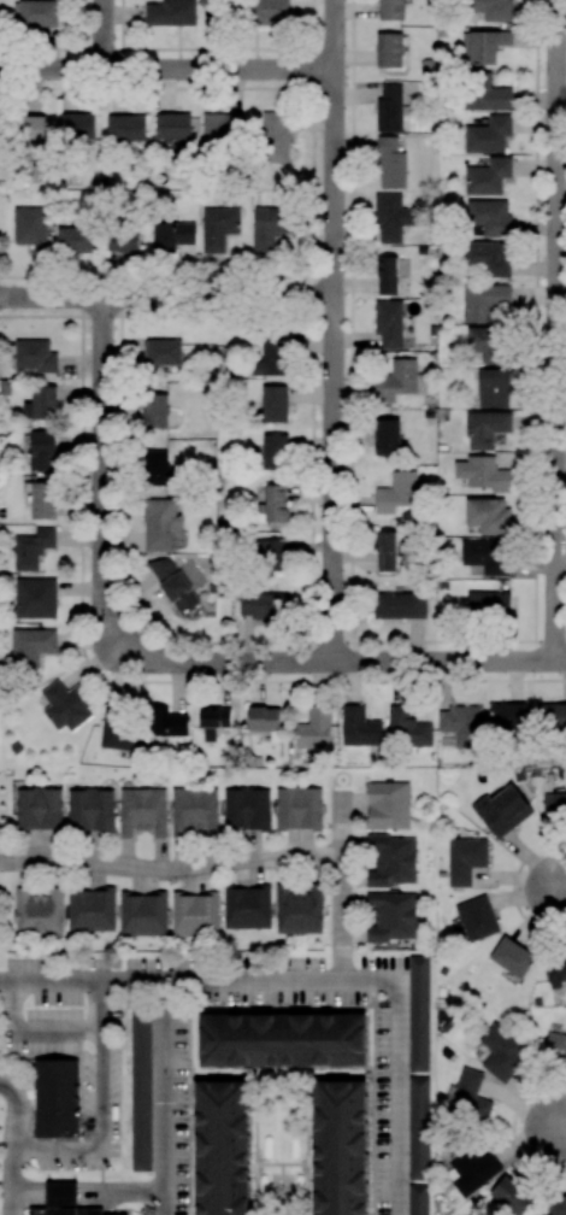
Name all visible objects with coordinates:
building: (491, 8)
building: (391, 10)
building: (264, 11)
building: (39, 13)
building: (170, 13)
road: (104, 34)
building: (487, 46)
building: (389, 49)
road: (167, 69)
building: (485, 93)
building: (389, 107)
building: (77, 125)
building: (172, 125)
building: (220, 127)
building: (125, 128)
building: (489, 135)
building: (31, 136)
building: (275, 137)
building: (390, 164)
building: (488, 176)
building: (490, 216)
building: (391, 218)
building: (31, 227)
building: (267, 227)
building: (218, 228)
building: (172, 236)
building: (75, 240)
building: (123, 240)
building: (487, 258)
building: (387, 276)
road: (166, 297)
building: (485, 301)
building: (388, 324)
road: (332, 330)
road: (556, 330)
building: (485, 344)
building: (164, 352)
building: (34, 356)
building: (270, 359)
building: (397, 381)
building: (494, 388)
building: (41, 404)
building: (275, 404)
building: (155, 411)
building: (485, 428)
building: (387, 436)
building: (43, 450)
building: (275, 451)
building: (157, 468)
road: (101, 469)
building: (483, 474)
building: (397, 493)
building: (42, 500)
building: (275, 504)
building: (489, 515)
building: (163, 526)
building: (33, 548)
building: (385, 551)
building: (271, 556)
building: (487, 556)
building: (173, 585)
building: (36, 598)
building: (488, 604)
building: (263, 605)
building: (400, 605)
building: (31, 647)
road: (346, 662)
building: (65, 706)
building: (507, 717)
building: (552, 717)
building: (264, 718)
building: (213, 721)
building: (165, 722)
building: (461, 724)
building: (359, 727)
building: (118, 728)
building: (409, 728)
building: (314, 729)
building: (388, 805)
building: (558, 805)
building: (297, 808)
building: (39, 809)
building: (90, 809)
building: (246, 809)
building: (502, 810)
building: (142, 811)
building: (194, 811)
building: (465, 859)
building: (393, 861)
road: (171, 869)
road: (342, 885)
road: (560, 888)
building: (247, 908)
building: (92, 910)
building: (297, 910)
building: (39, 912)
building: (142, 914)
building: (195, 914)
building: (393, 917)
building: (477, 918)
building: (512, 957)
building: (555, 972)
road: (171, 981)
building: (418, 1012)
road: (58, 1031)
building: (282, 1040)
building: (555, 1046)
building: (500, 1053)
building: (26, 1064)
road: (396, 1070)
road: (102, 1088)
building: (141, 1091)
building: (55, 1097)
road: (164, 1098)
building: (467, 1098)
building: (418, 1127)
road: (560, 1128)
road: (14, 1144)
building: (222, 1147)
building: (340, 1147)
road: (59, 1151)
building: (471, 1170)
road: (87, 1192)
building: (61, 1193)
building: (511, 1196)
building: (418, 1199)
building: (556, 1205)
building: (67, 1210)

